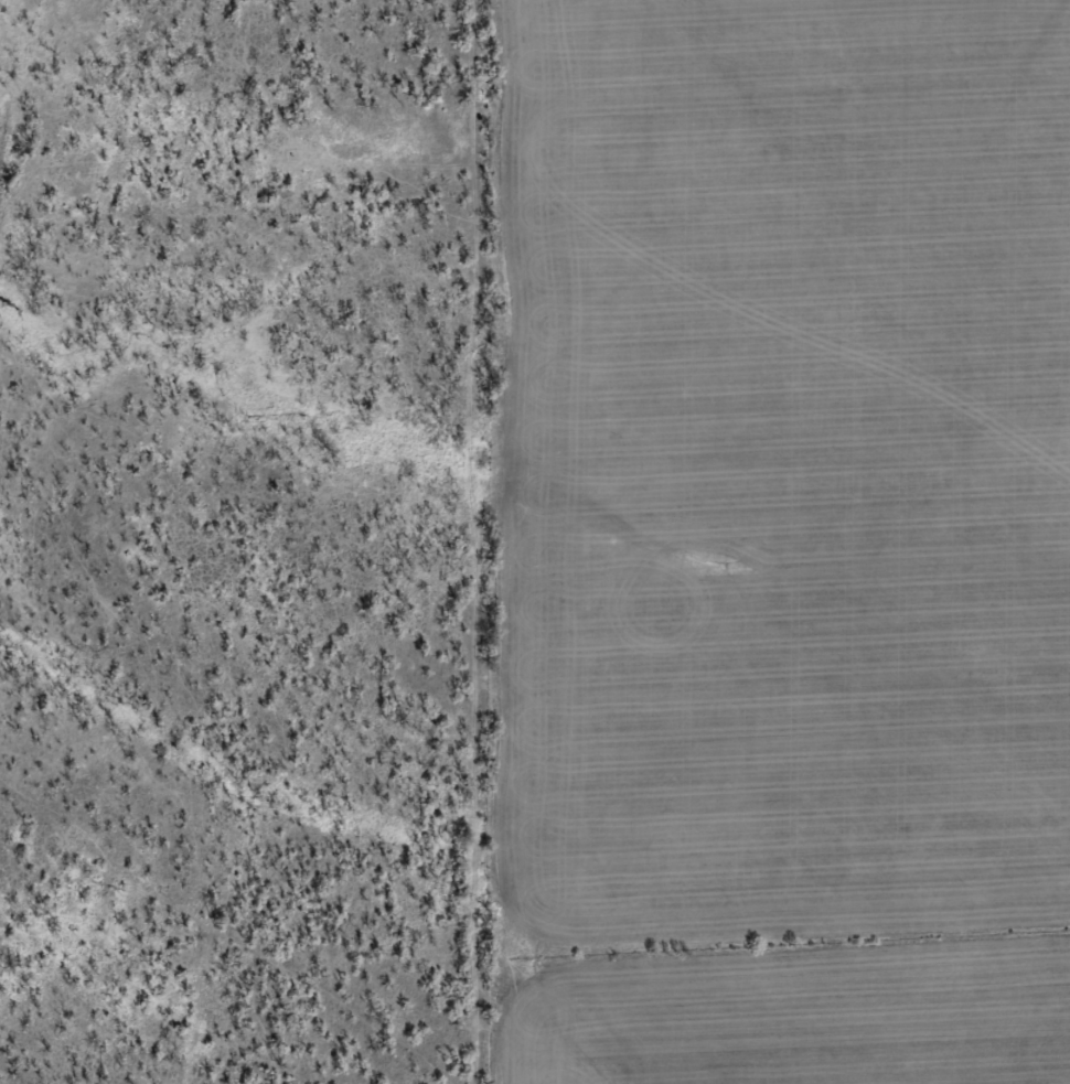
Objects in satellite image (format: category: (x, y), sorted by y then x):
power tower: (218, 921)

